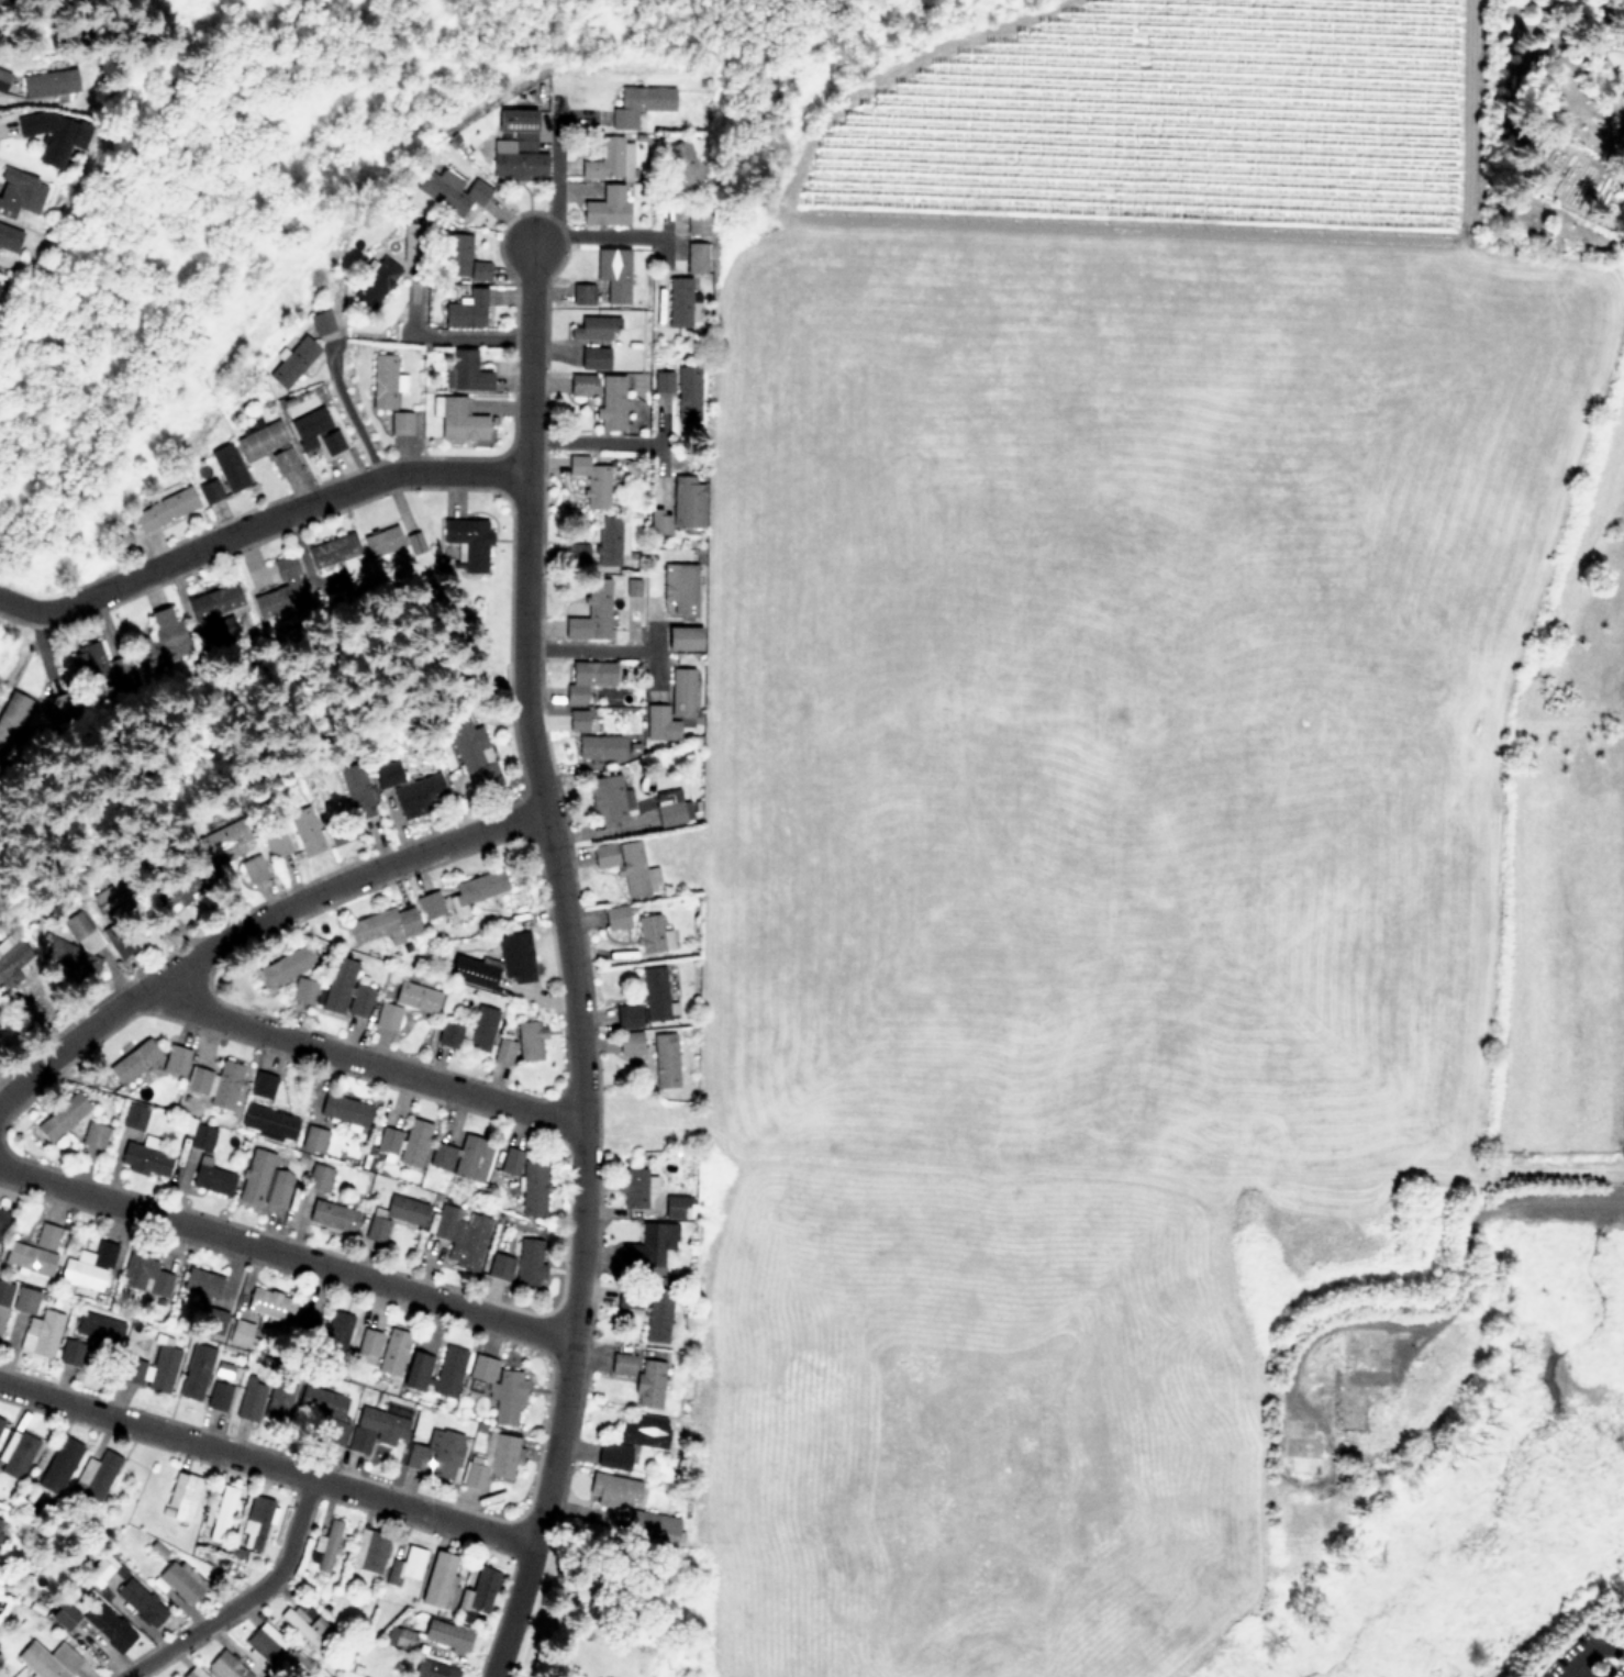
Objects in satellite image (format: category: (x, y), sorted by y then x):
building: (2, 79)
building: (47, 84)
building: (641, 103)
building: (47, 135)
building: (1621, 135)
building: (518, 146)
building: (605, 159)
building: (683, 166)
road: (556, 181)
building: (451, 190)
building: (19, 192)
building: (607, 206)
building: (698, 222)
road: (601, 235)
building: (9, 237)
building: (697, 257)
building: (463, 258)
building: (614, 274)
building: (376, 282)
building: (582, 293)
building: (679, 301)
building: (466, 309)
building: (321, 322)
building: (593, 326)
road: (461, 336)
building: (594, 356)
building: (292, 360)
building: (465, 370)
building: (383, 380)
building: (663, 380)
building: (581, 384)
building: (688, 392)
building: (611, 401)
road: (347, 411)
building: (459, 420)
building: (400, 422)
building: (315, 430)
building: (260, 438)
road: (592, 438)
building: (283, 458)
building: (227, 467)
building: (591, 479)
building: (209, 489)
building: (688, 501)
building: (164, 509)
road: (291, 509)
building: (610, 541)
building: (382, 542)
building: (468, 542)
building: (414, 543)
building: (338, 556)
building: (281, 587)
building: (679, 587)
building: (214, 603)
road: (34, 609)
building: (591, 613)
building: (683, 637)
building: (160, 640)
road: (586, 647)
building: (88, 667)
building: (587, 678)
building: (671, 707)
building: (11, 715)
building: (578, 719)
building: (600, 747)
building: (472, 752)
building: (408, 789)
building: (609, 797)
building: (358, 798)
crop: (1136, 800)
building: (669, 813)
building: (304, 831)
building: (340, 835)
building: (223, 838)
building: (276, 845)
building: (624, 865)
building: (253, 870)
building: (188, 887)
road: (561, 895)
building: (461, 896)
building: (105, 899)
building: (615, 918)
road: (255, 923)
building: (383, 924)
building: (649, 934)
building: (81, 936)
building: (120, 942)
building: (70, 958)
building: (515, 958)
building: (13, 963)
building: (285, 966)
building: (471, 974)
building: (338, 985)
building: (302, 991)
building: (655, 993)
building: (358, 1000)
building: (405, 1004)
building: (627, 1017)
building: (481, 1029)
building: (449, 1034)
building: (529, 1041)
building: (630, 1044)
building: (503, 1048)
building: (175, 1059)
building: (133, 1060)
road: (366, 1060)
building: (665, 1060)
building: (215, 1084)
building: (262, 1084)
building: (344, 1110)
building: (62, 1117)
building: (133, 1117)
building: (268, 1122)
road: (639, 1123)
building: (93, 1135)
building: (201, 1136)
building: (313, 1139)
building: (387, 1140)
building: (413, 1142)
building: (463, 1156)
building: (144, 1158)
building: (255, 1176)
building: (318, 1177)
building: (212, 1179)
building: (527, 1179)
building: (635, 1187)
building: (278, 1188)
road: (1553, 1193)
building: (671, 1204)
building: (331, 1214)
building: (393, 1215)
building: (2, 1220)
building: (460, 1234)
building: (649, 1243)
building: (34, 1250)
road: (287, 1254)
building: (521, 1262)
building: (88, 1267)
building: (144, 1273)
building: (201, 1281)
building: (4, 1292)
building: (627, 1297)
building: (24, 1300)
building: (269, 1303)
building: (657, 1318)
building: (212, 1320)
building: (307, 1324)
building: (98, 1326)
building: (240, 1331)
building: (41, 1333)
building: (335, 1333)
building: (368, 1342)
building: (1350, 1350)
building: (392, 1351)
building: (74, 1354)
building: (162, 1364)
building: (622, 1364)
building: (132, 1369)
building: (196, 1370)
building: (416, 1370)
building: (448, 1371)
building: (648, 1382)
building: (497, 1391)
building: (219, 1395)
building: (279, 1397)
building: (251, 1399)
building: (1349, 1399)
building: (325, 1410)
building: (1, 1422)
building: (375, 1429)
building: (643, 1431)
building: (1303, 1452)
building: (16, 1453)
building: (435, 1454)
building: (613, 1456)
building: (491, 1461)
road: (267, 1464)
building: (58, 1465)
building: (94, 1476)
building: (612, 1489)
building: (182, 1496)
building: (218, 1513)
building: (256, 1522)
building: (653, 1525)
building: (327, 1546)
building: (368, 1551)
building: (405, 1565)
building: (180, 1580)
building: (440, 1580)
building: (480, 1589)
building: (136, 1599)
road: (246, 1599)
road: (515, 1611)
building: (97, 1620)
building: (307, 1626)
building: (445, 1634)
building: (402, 1637)
building: (264, 1642)
road: (1591, 1653)
parking lot: (1588, 1656)
building: (47, 1659)
building: (225, 1666)
building: (432, 1668)
building: (190, 1674)
road: (1576, 1674)

